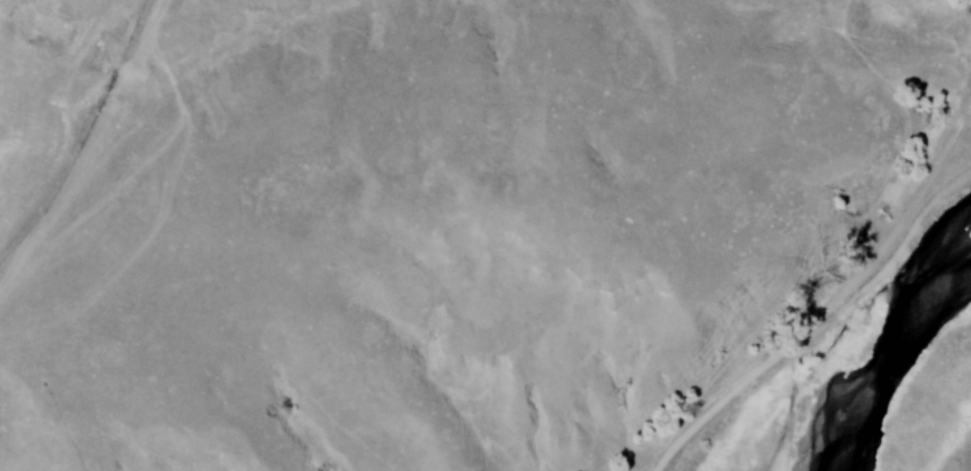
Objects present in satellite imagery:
river: (888, 357)

